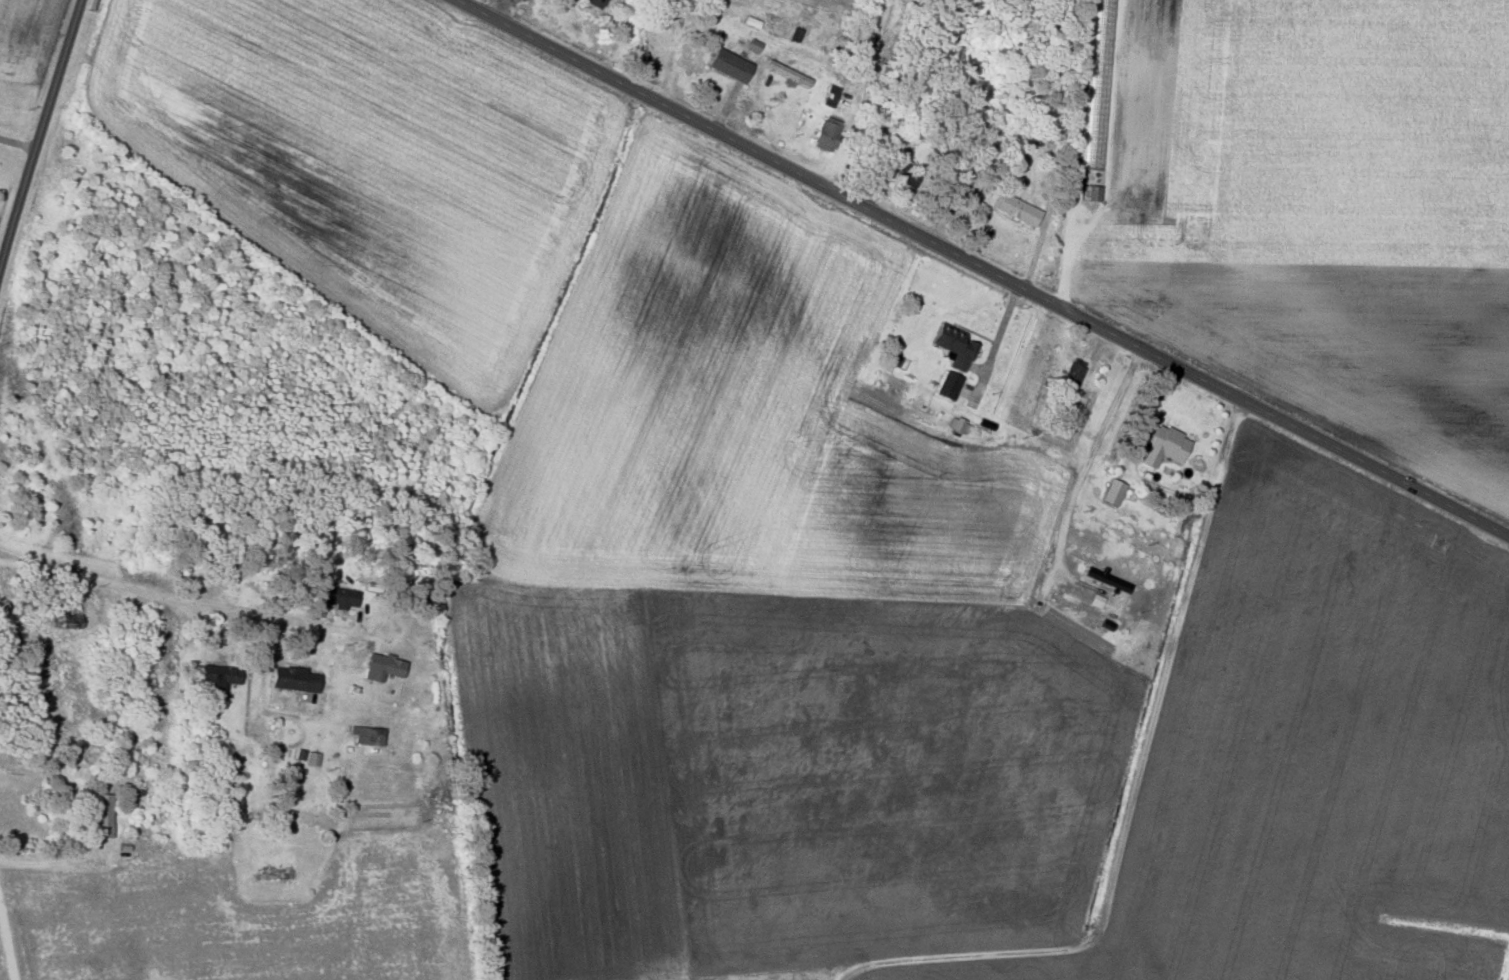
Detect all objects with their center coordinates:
building: (594, 3)
building: (857, 37)
building: (752, 45)
building: (728, 64)
building: (780, 70)
building: (824, 133)
road: (34, 148)
building: (902, 172)
building: (1016, 209)
road: (981, 268)
building: (951, 345)
building: (1071, 376)
building: (946, 386)
building: (1160, 444)
building: (1112, 492)
building: (1103, 577)
building: (338, 596)
road: (194, 599)
building: (64, 618)
building: (380, 665)
building: (217, 675)
building: (292, 678)
building: (366, 734)
building: (297, 754)
building: (312, 758)
building: (101, 814)
building: (278, 873)

